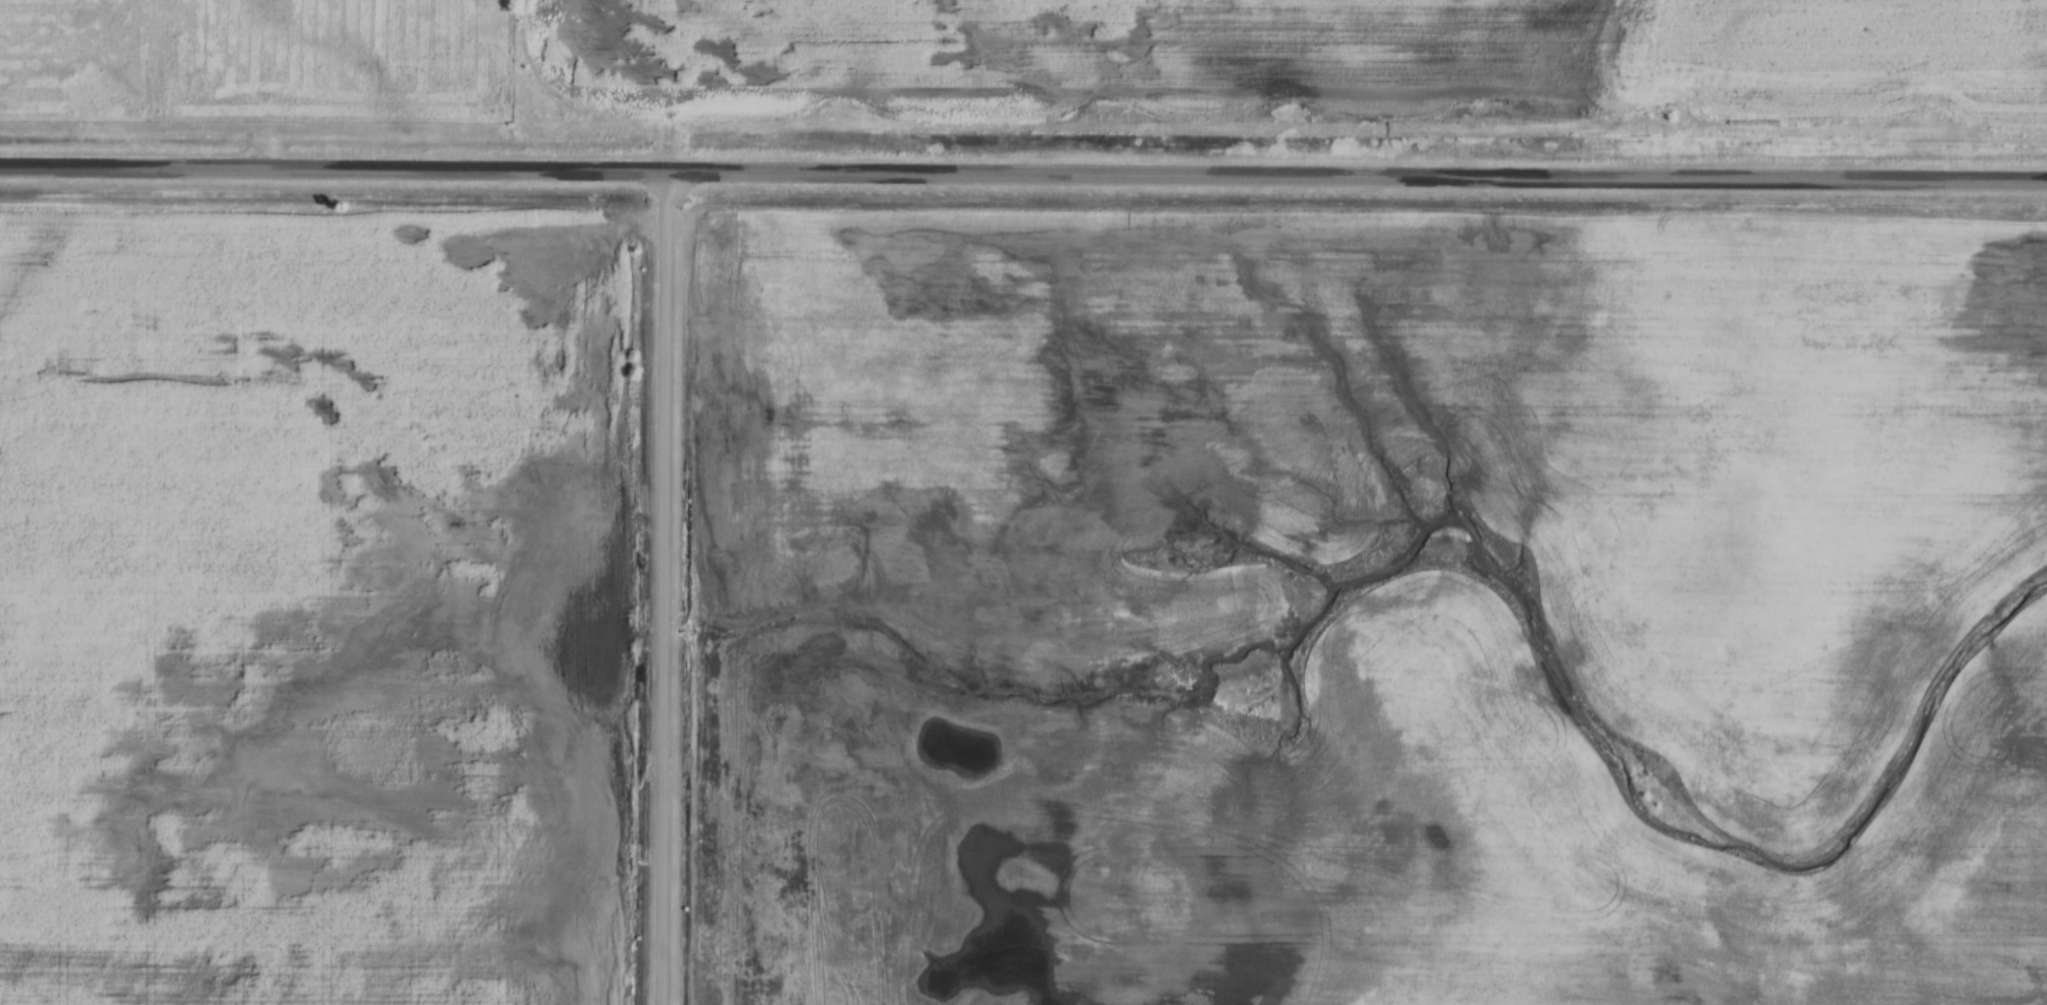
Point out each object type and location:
road: (1023, 179)
road: (658, 591)

